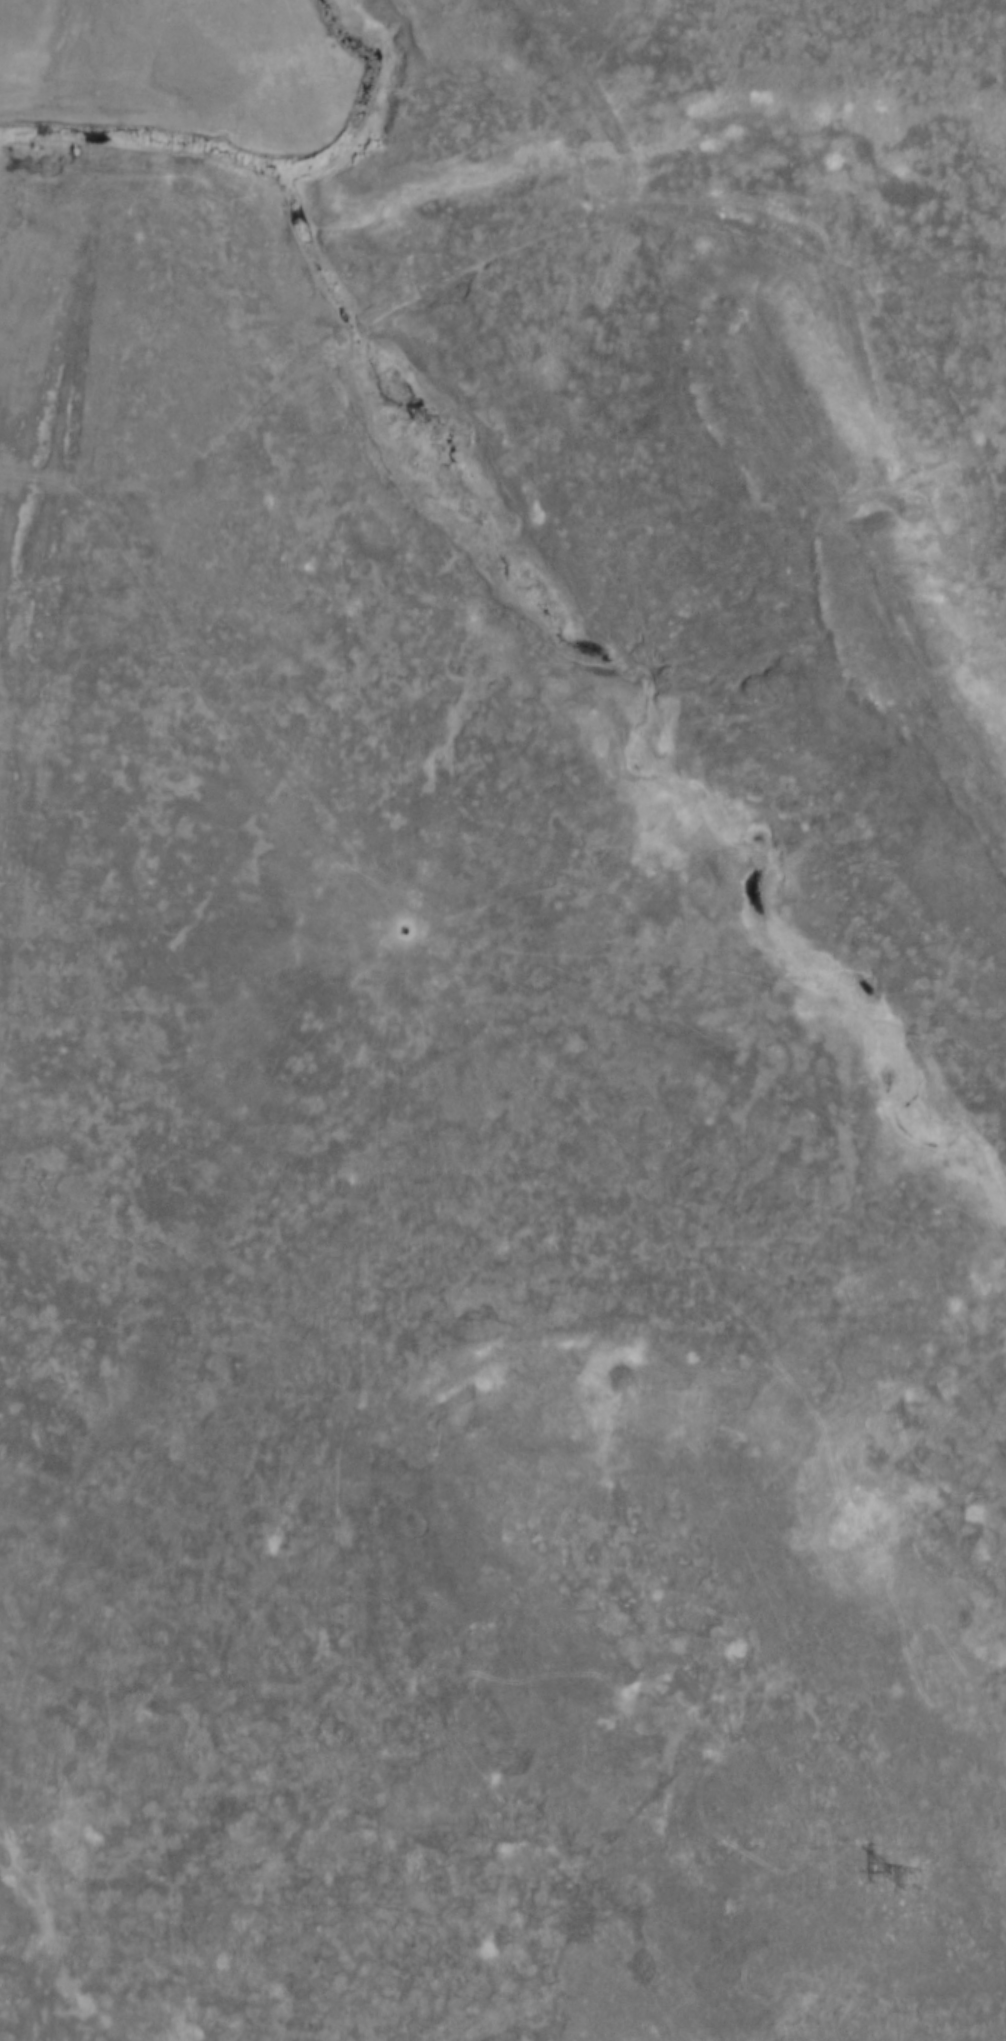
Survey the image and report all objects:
power tower: (908, 1887)

